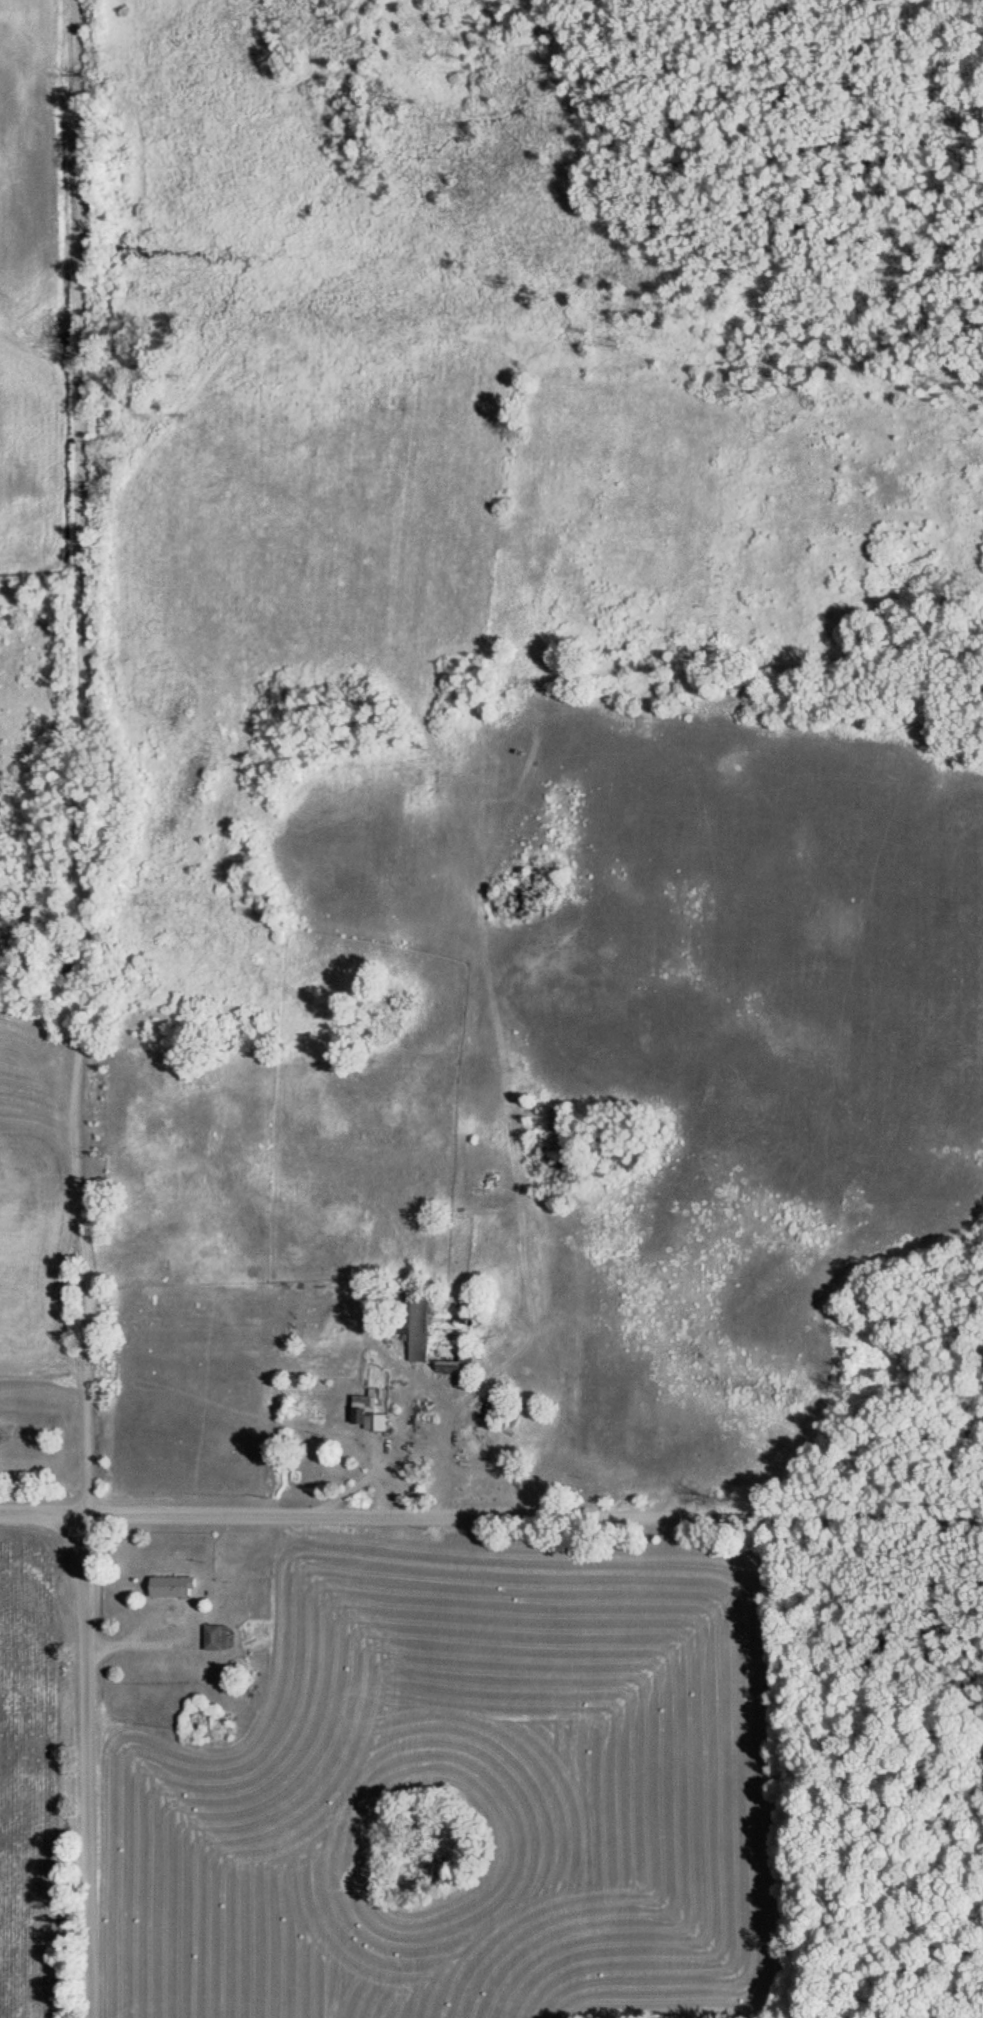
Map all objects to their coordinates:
road: (81, 1008)
building: (425, 1329)
building: (375, 1415)
building: (485, 1424)
building: (675, 1456)
road: (491, 1515)
building: (178, 1589)
building: (220, 1640)

